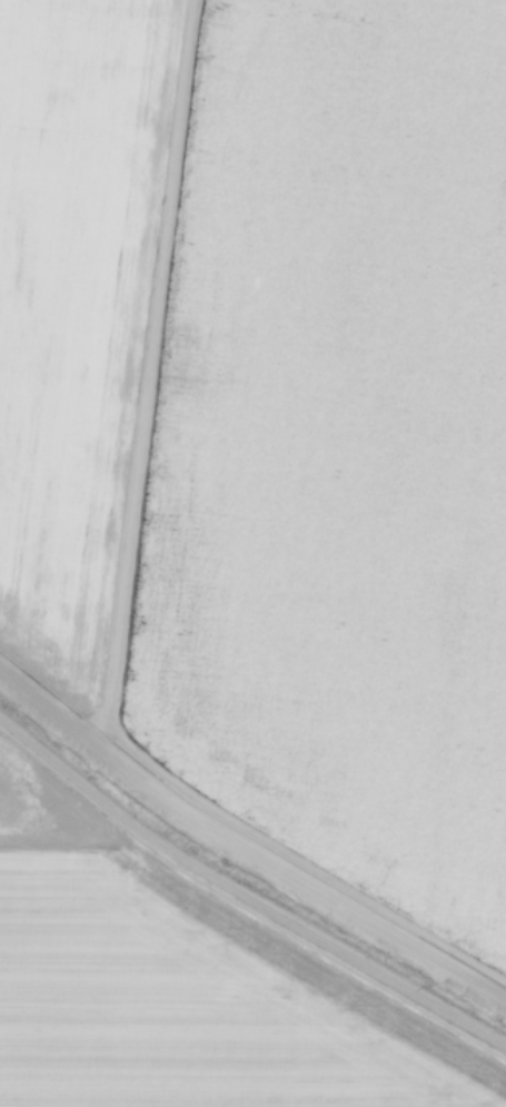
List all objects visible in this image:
road: (112, 614)
road: (48, 710)
road: (244, 895)

